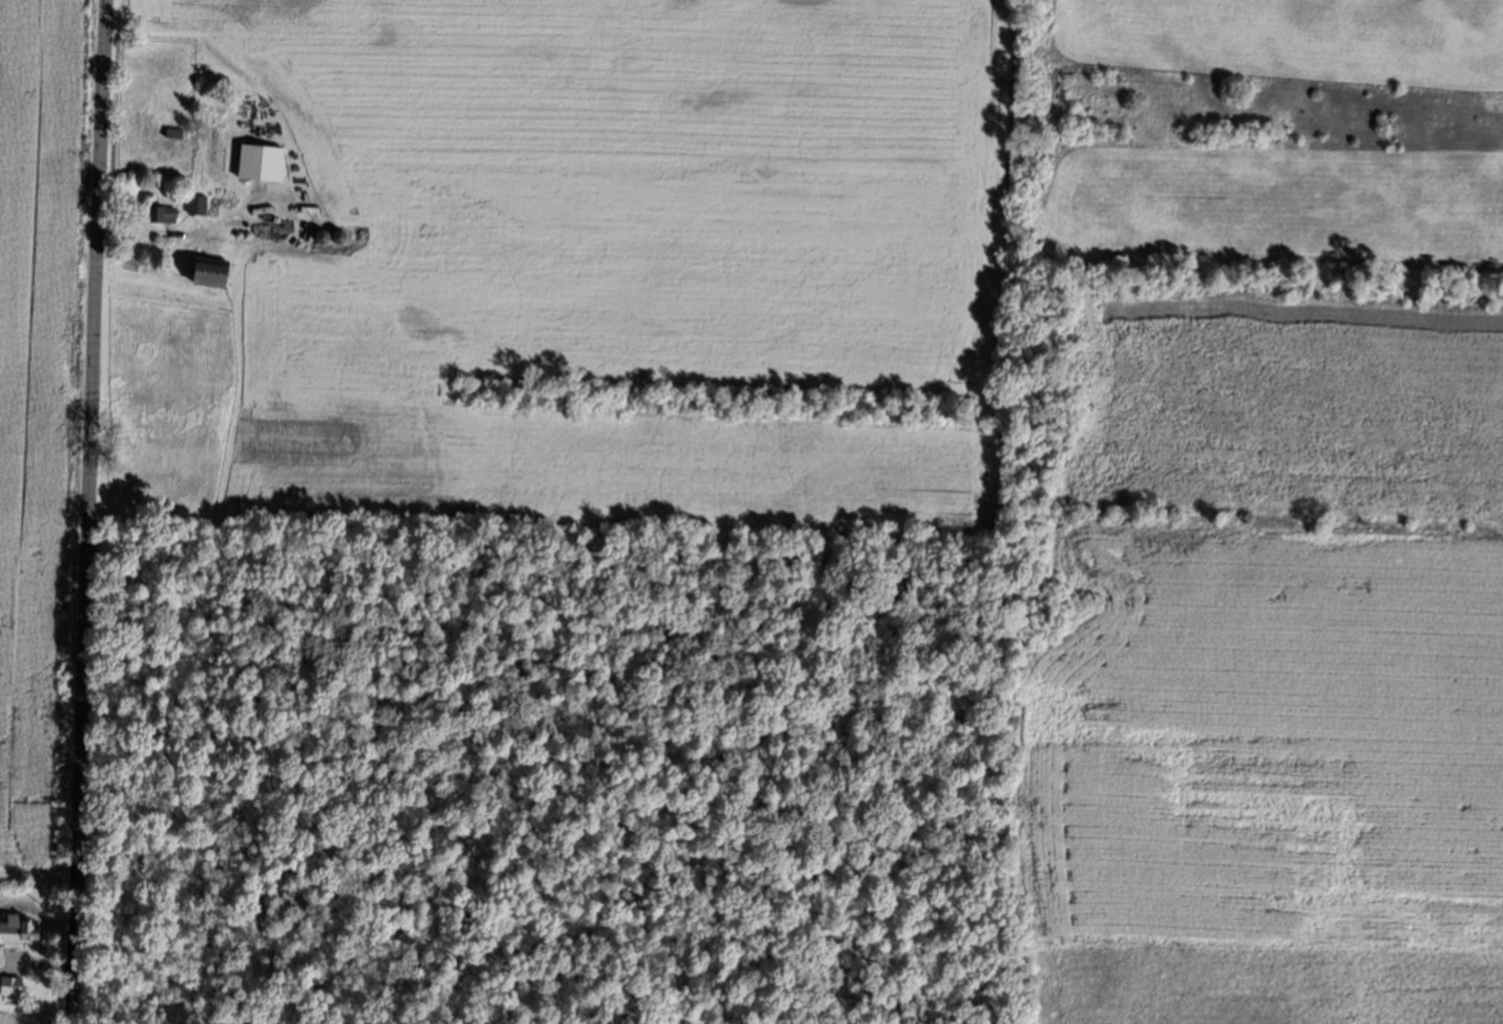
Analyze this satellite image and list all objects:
building: (256, 163)
building: (195, 205)
building: (159, 215)
building: (201, 274)
road: (87, 512)
building: (15, 933)
building: (9, 989)

